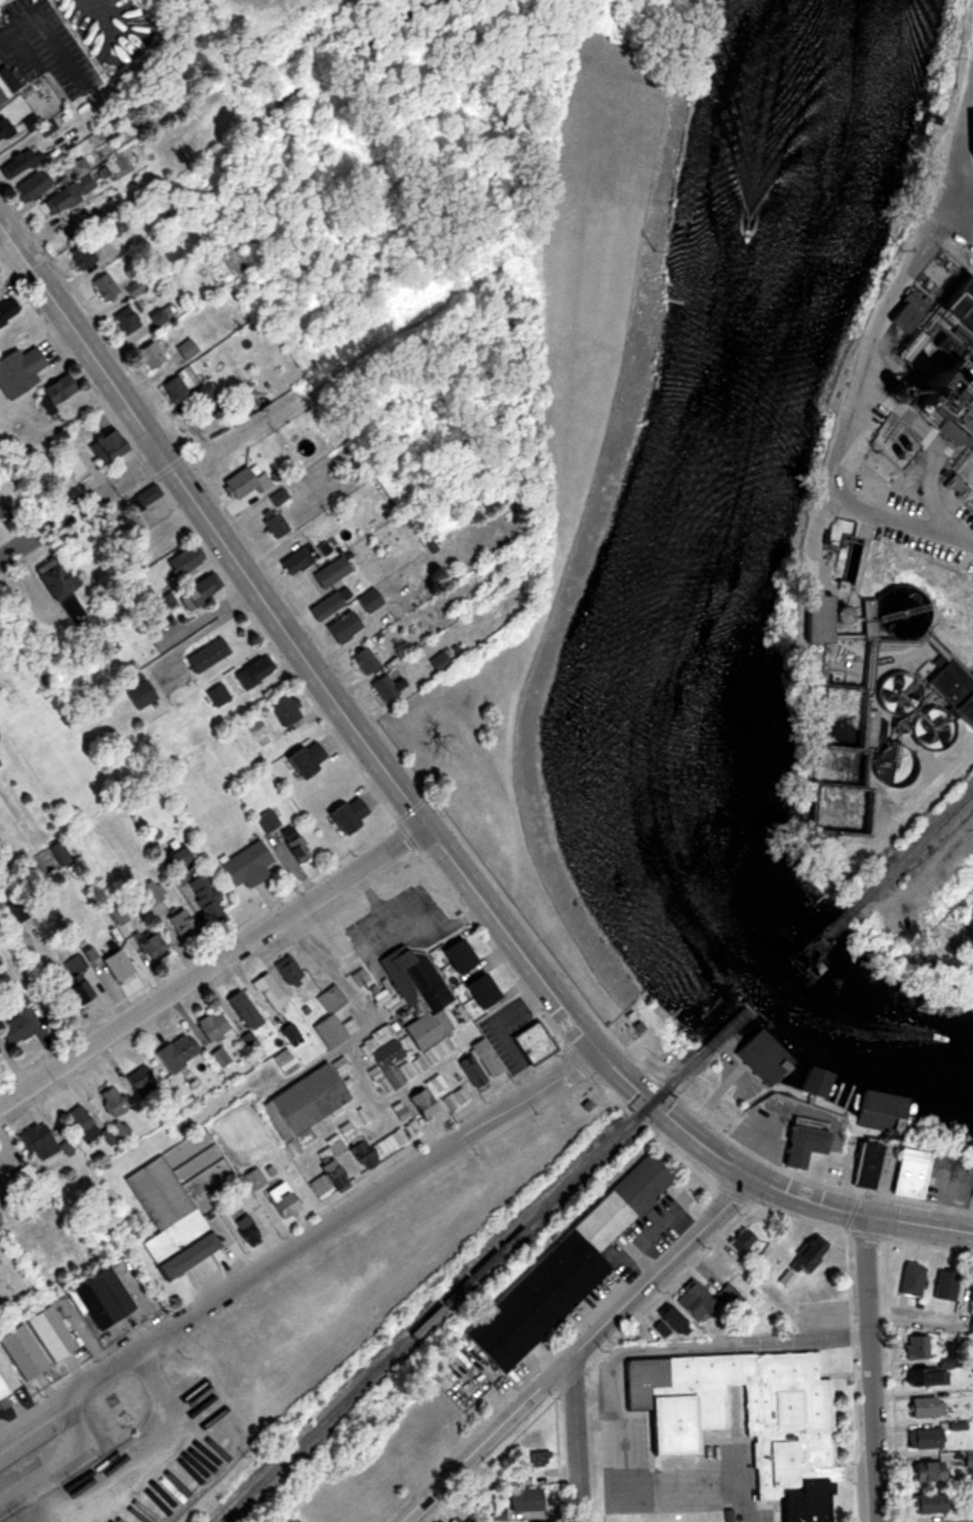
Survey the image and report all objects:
building: (6, 84)
building: (17, 164)
building: (30, 186)
building: (70, 189)
building: (79, 256)
building: (103, 287)
building: (132, 288)
building: (936, 306)
building: (6, 310)
building: (159, 317)
building: (124, 320)
road: (80, 337)
road: (870, 340)
building: (185, 349)
building: (148, 354)
building: (17, 370)
building: (969, 373)
building: (185, 387)
building: (51, 393)
building: (105, 445)
building: (243, 483)
building: (146, 495)
road: (80, 504)
building: (0, 518)
building: (164, 530)
building: (182, 560)
building: (293, 564)
building: (329, 572)
building: (54, 579)
building: (198, 589)
building: (368, 600)
building: (326, 605)
river: (677, 617)
building: (342, 626)
building: (206, 655)
building: (440, 659)
building: (363, 660)
building: (252, 671)
building: (386, 686)
building: (139, 693)
building: (836, 693)
building: (283, 708)
building: (303, 759)
building: (345, 814)
building: (282, 835)
building: (178, 858)
building: (49, 859)
railway: (916, 859)
building: (246, 865)
building: (148, 893)
building: (205, 896)
building: (182, 924)
road: (502, 925)
building: (350, 932)
building: (148, 947)
building: (456, 955)
road: (212, 962)
building: (112, 967)
building: (287, 969)
building: (360, 978)
building: (75, 979)
railway: (792, 980)
building: (269, 990)
building: (478, 990)
building: (17, 999)
building: (242, 1008)
building: (415, 1017)
building: (332, 1019)
building: (210, 1025)
building: (13, 1031)
building: (531, 1043)
building: (176, 1051)
building: (219, 1057)
building: (763, 1058)
building: (478, 1063)
building: (140, 1081)
building: (816, 1083)
building: (455, 1100)
building: (303, 1101)
building: (113, 1102)
building: (420, 1103)
building: (881, 1111)
building: (80, 1123)
building: (179, 1128)
building: (115, 1132)
building: (346, 1132)
building: (36, 1140)
building: (800, 1142)
building: (375, 1145)
building: (865, 1165)
building: (905, 1173)
building: (253, 1179)
building: (26, 1180)
building: (327, 1180)
building: (280, 1200)
building: (167, 1220)
building: (741, 1241)
road: (297, 1244)
building: (806, 1256)
road: (660, 1269)
building: (559, 1272)
building: (911, 1279)
railway: (479, 1283)
building: (971, 1285)
building: (943, 1291)
building: (730, 1292)
building: (100, 1298)
building: (693, 1301)
building: (671, 1318)
building: (971, 1323)
building: (46, 1334)
building: (915, 1347)
building: (19, 1352)
road: (871, 1367)
building: (925, 1378)
building: (4, 1385)
building: (922, 1407)
building: (742, 1416)
building: (925, 1438)
road: (482, 1441)
road: (576, 1441)
building: (538, 1459)
building: (927, 1471)
road: (631, 1493)
building: (522, 1500)
building: (925, 1502)
building: (456, 1520)
building: (468, 1520)

